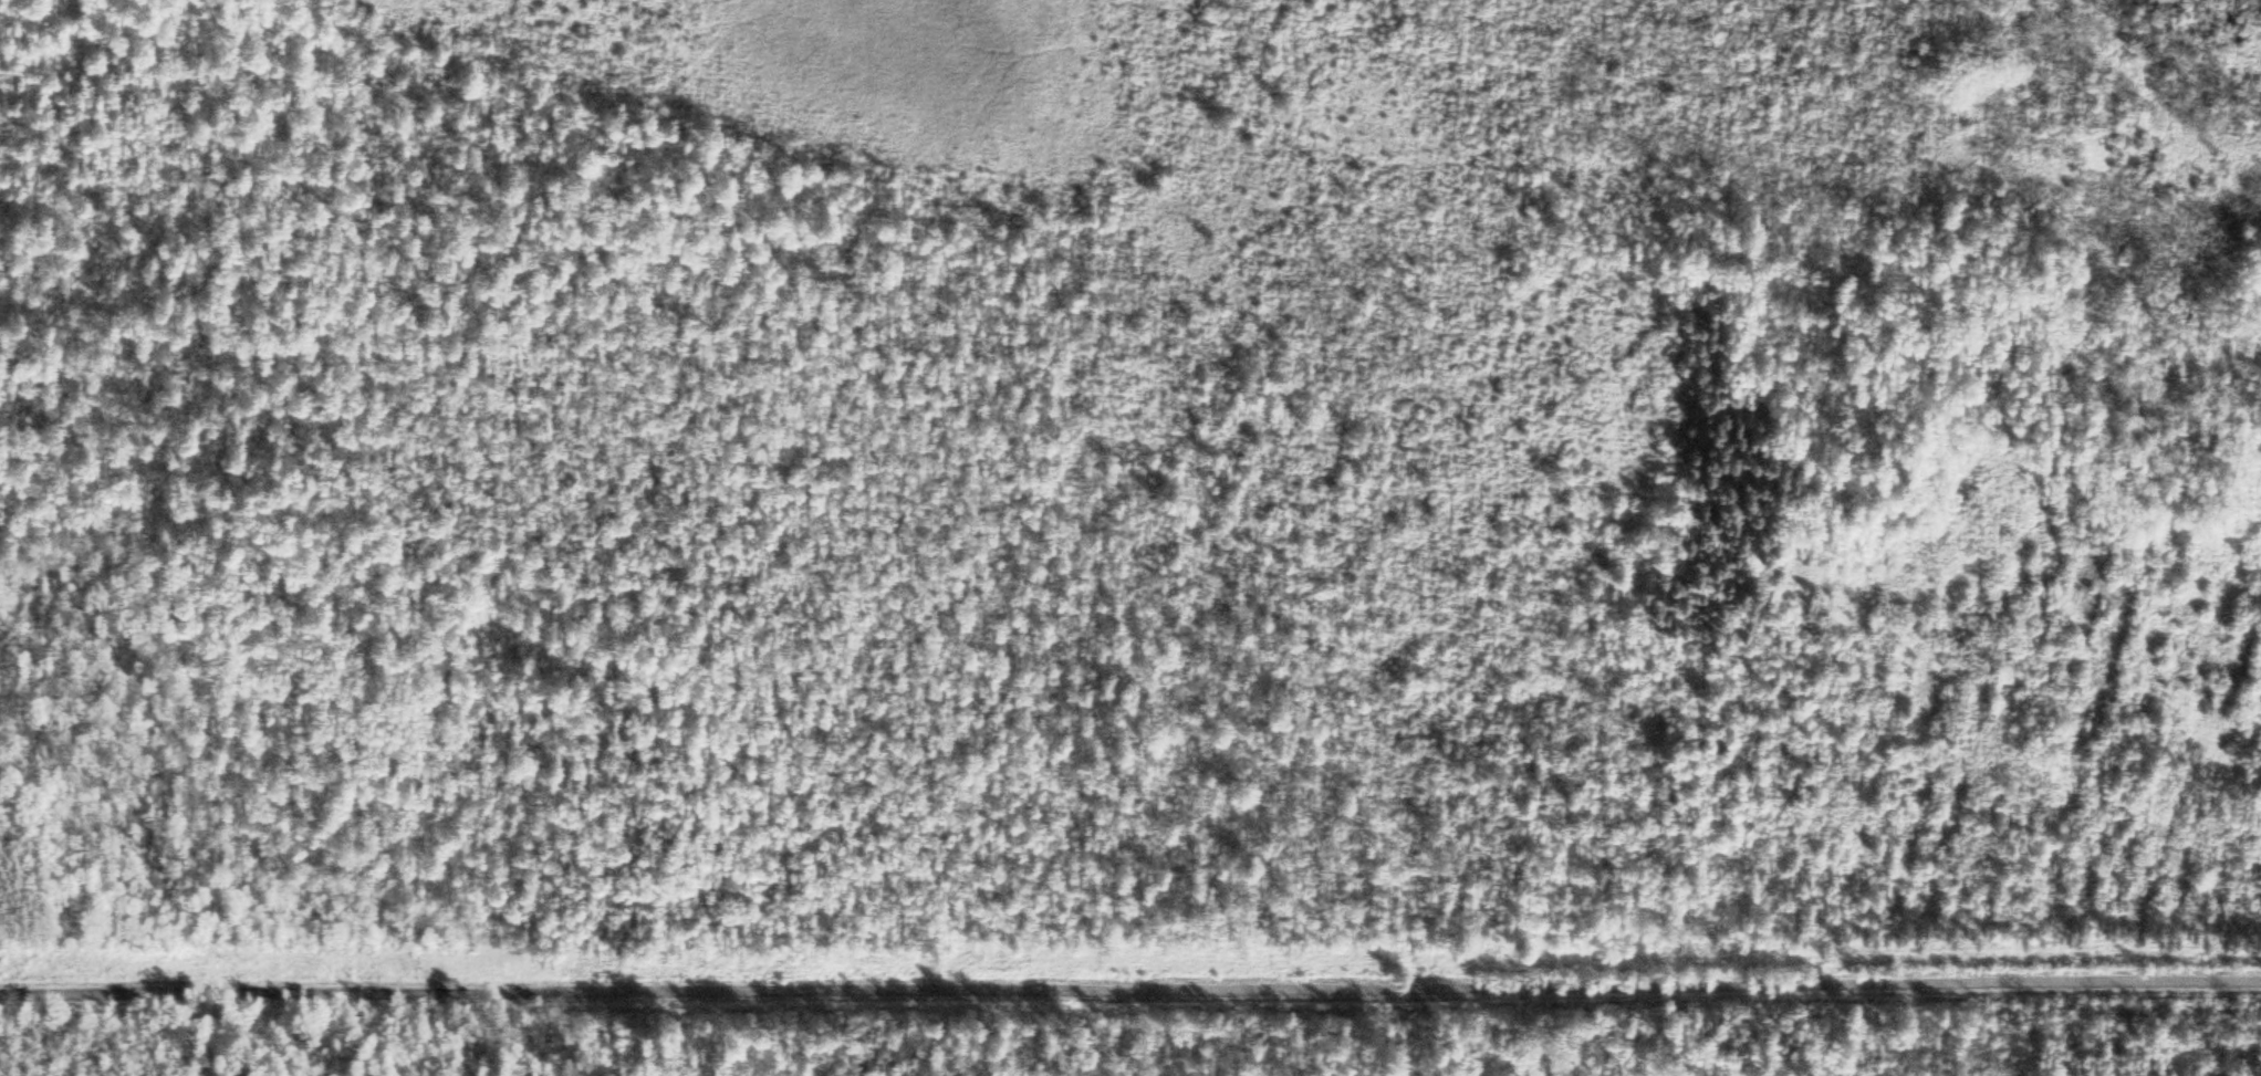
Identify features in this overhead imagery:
road: (1130, 960)

